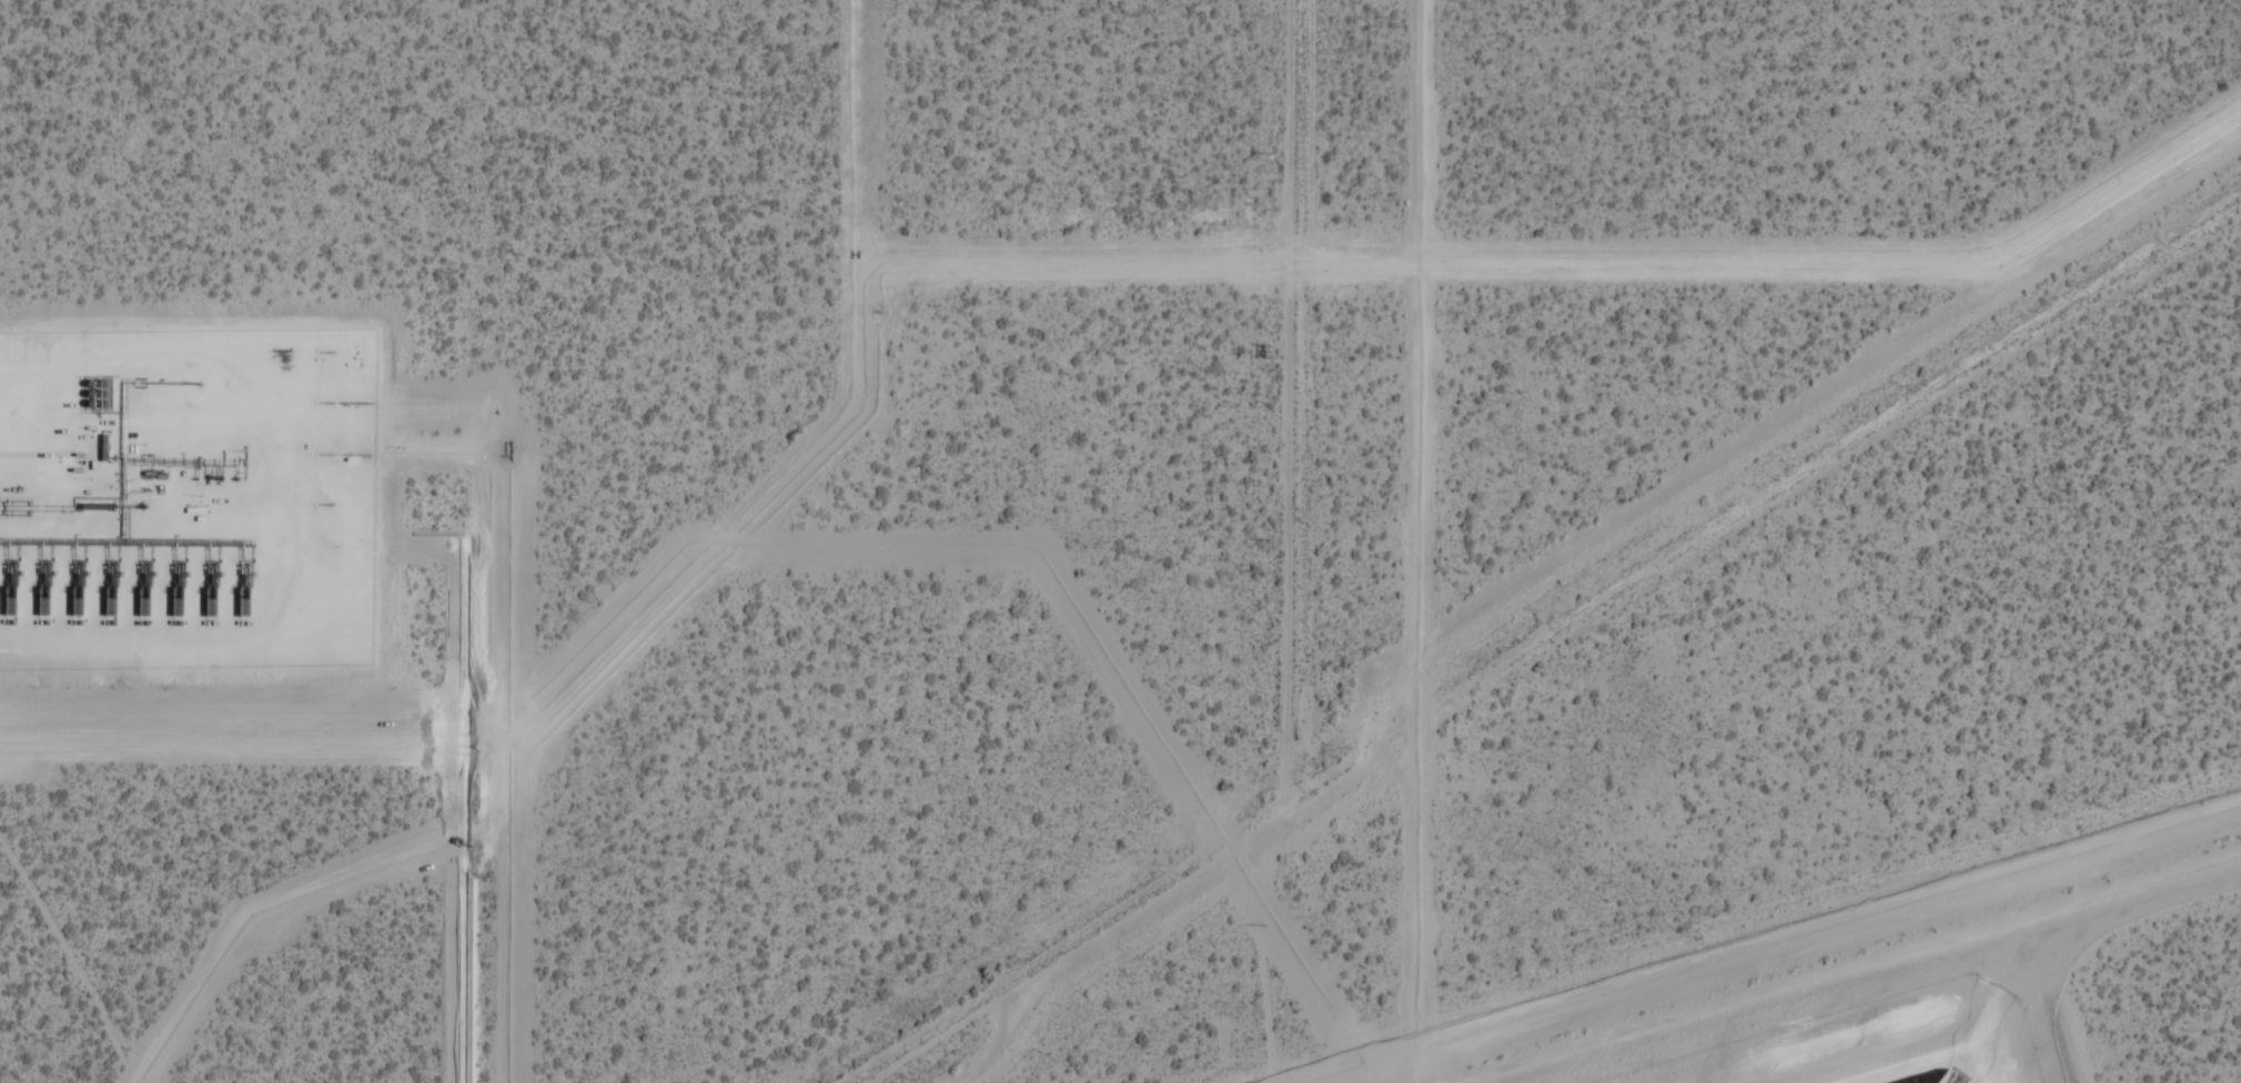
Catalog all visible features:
road: (162, 371)
road: (372, 695)

